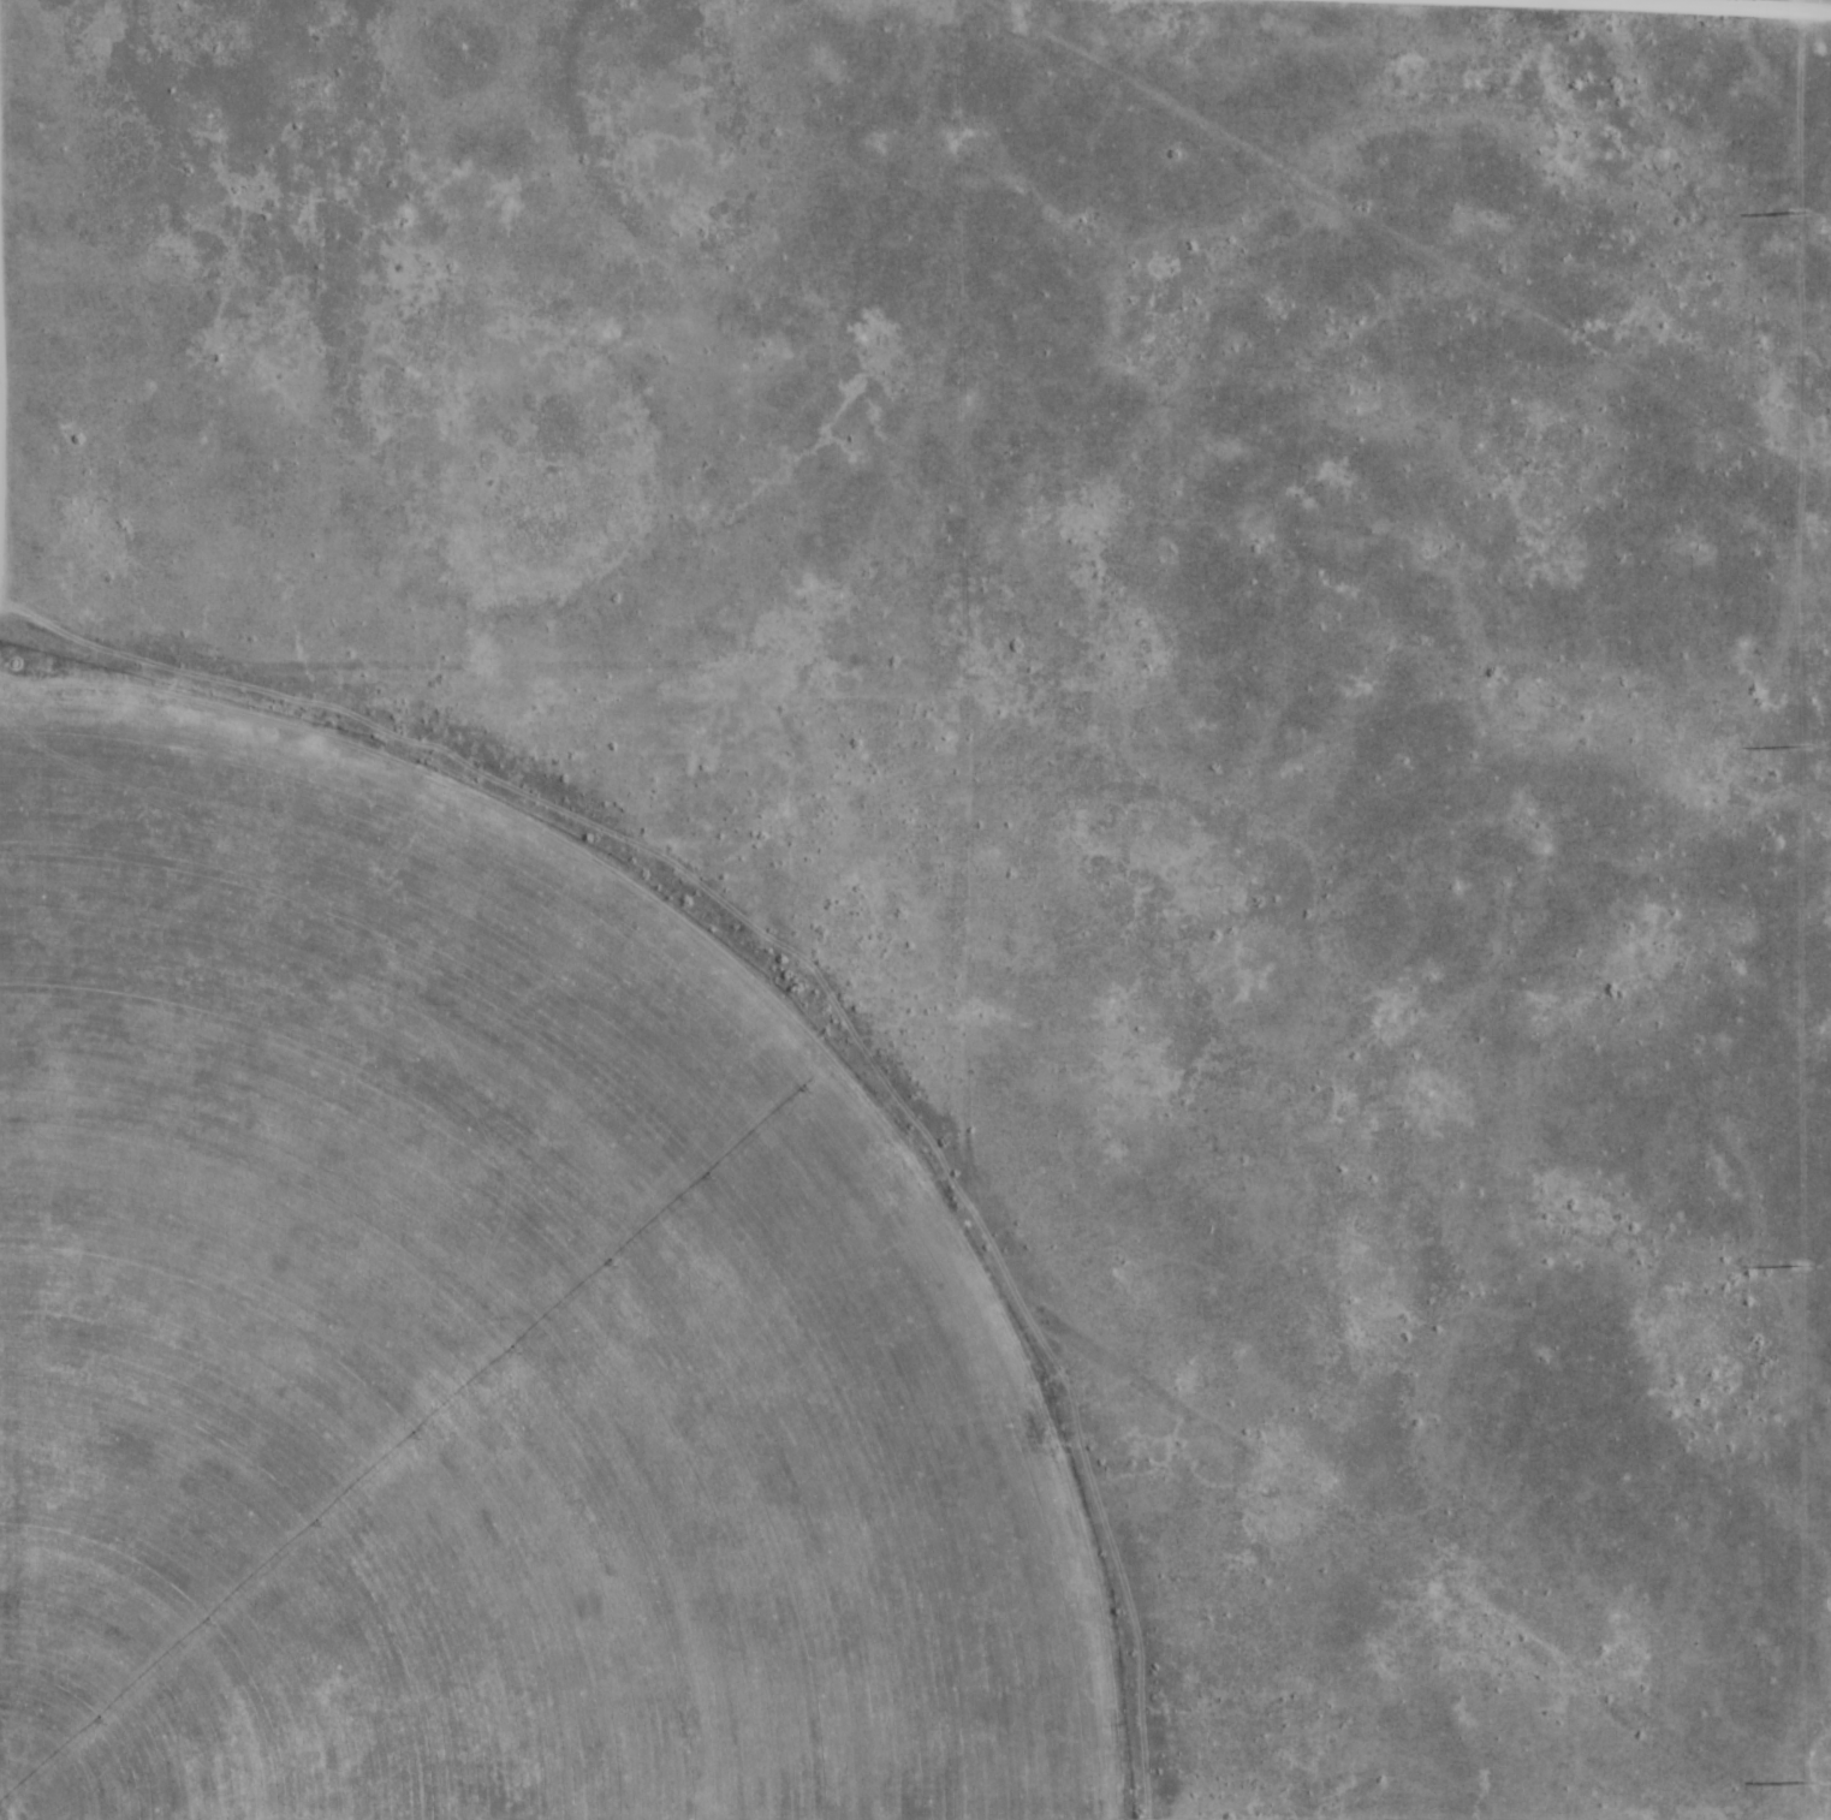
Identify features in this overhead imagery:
road: (1676, 6)
power tower: (1797, 213)
road: (10, 309)
power tower: (1800, 748)
power tower: (1800, 1266)
power tower: (1801, 1783)

